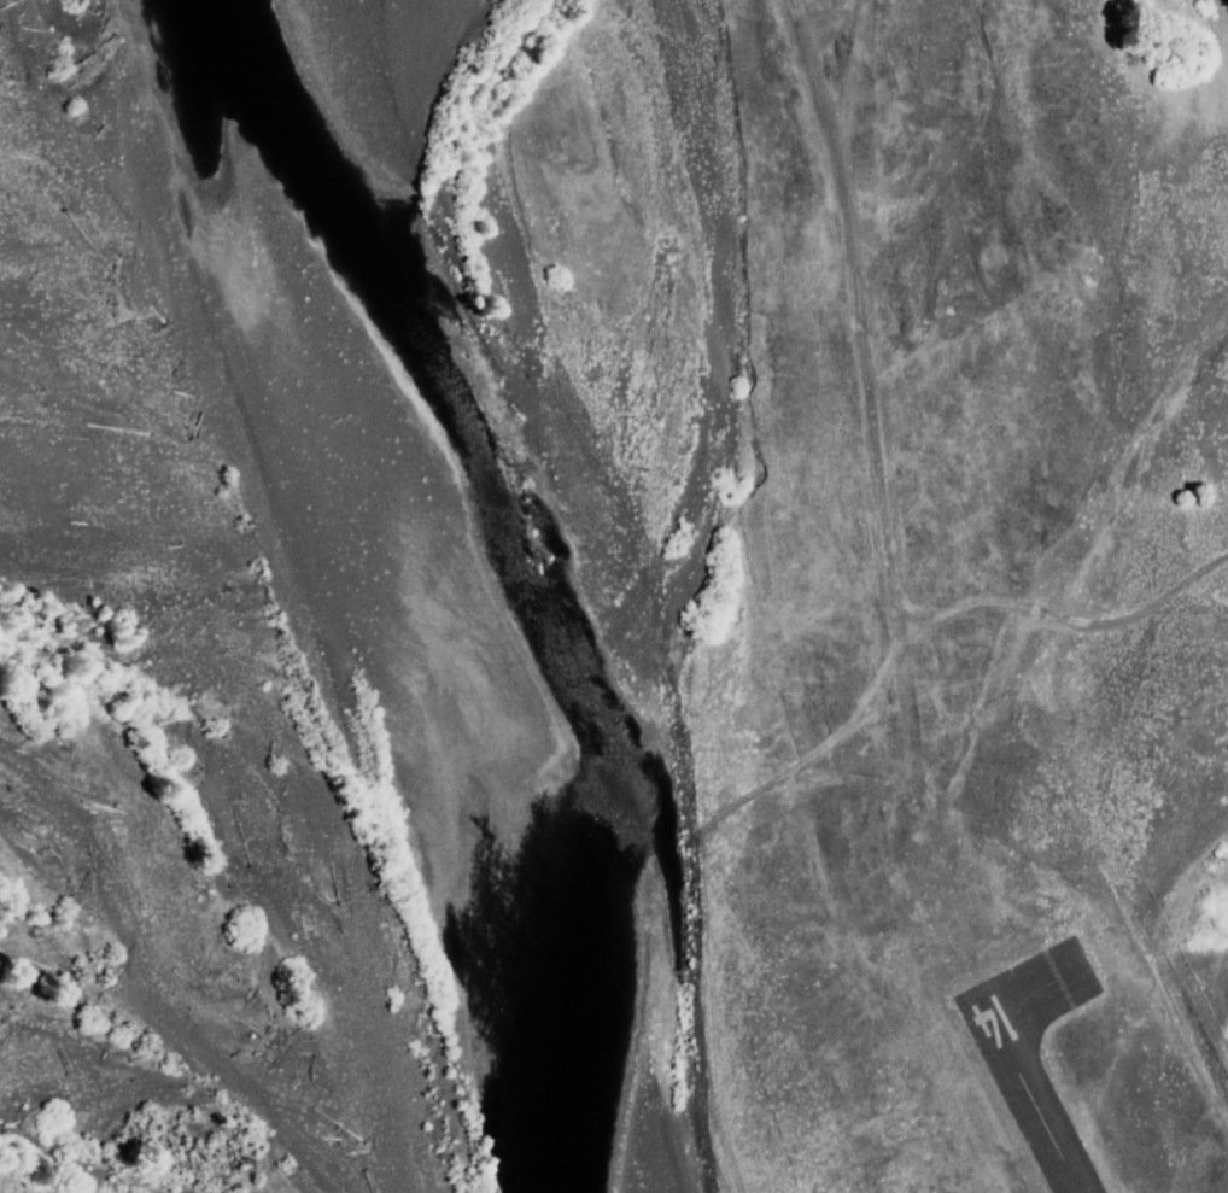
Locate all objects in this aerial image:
road: (802, 756)
airport runway: (1034, 1095)

